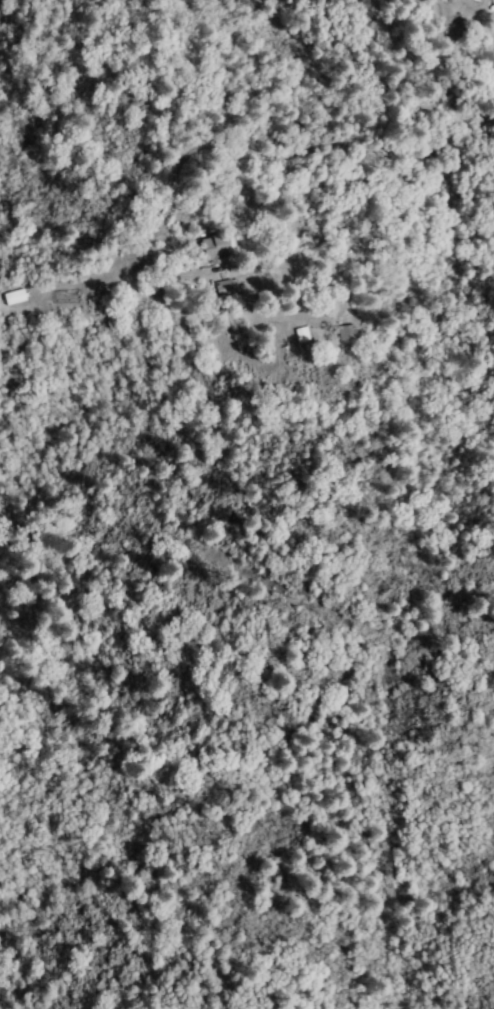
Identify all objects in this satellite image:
road: (397, 155)
building: (209, 250)
building: (221, 288)
building: (11, 298)
building: (344, 333)
building: (299, 335)

